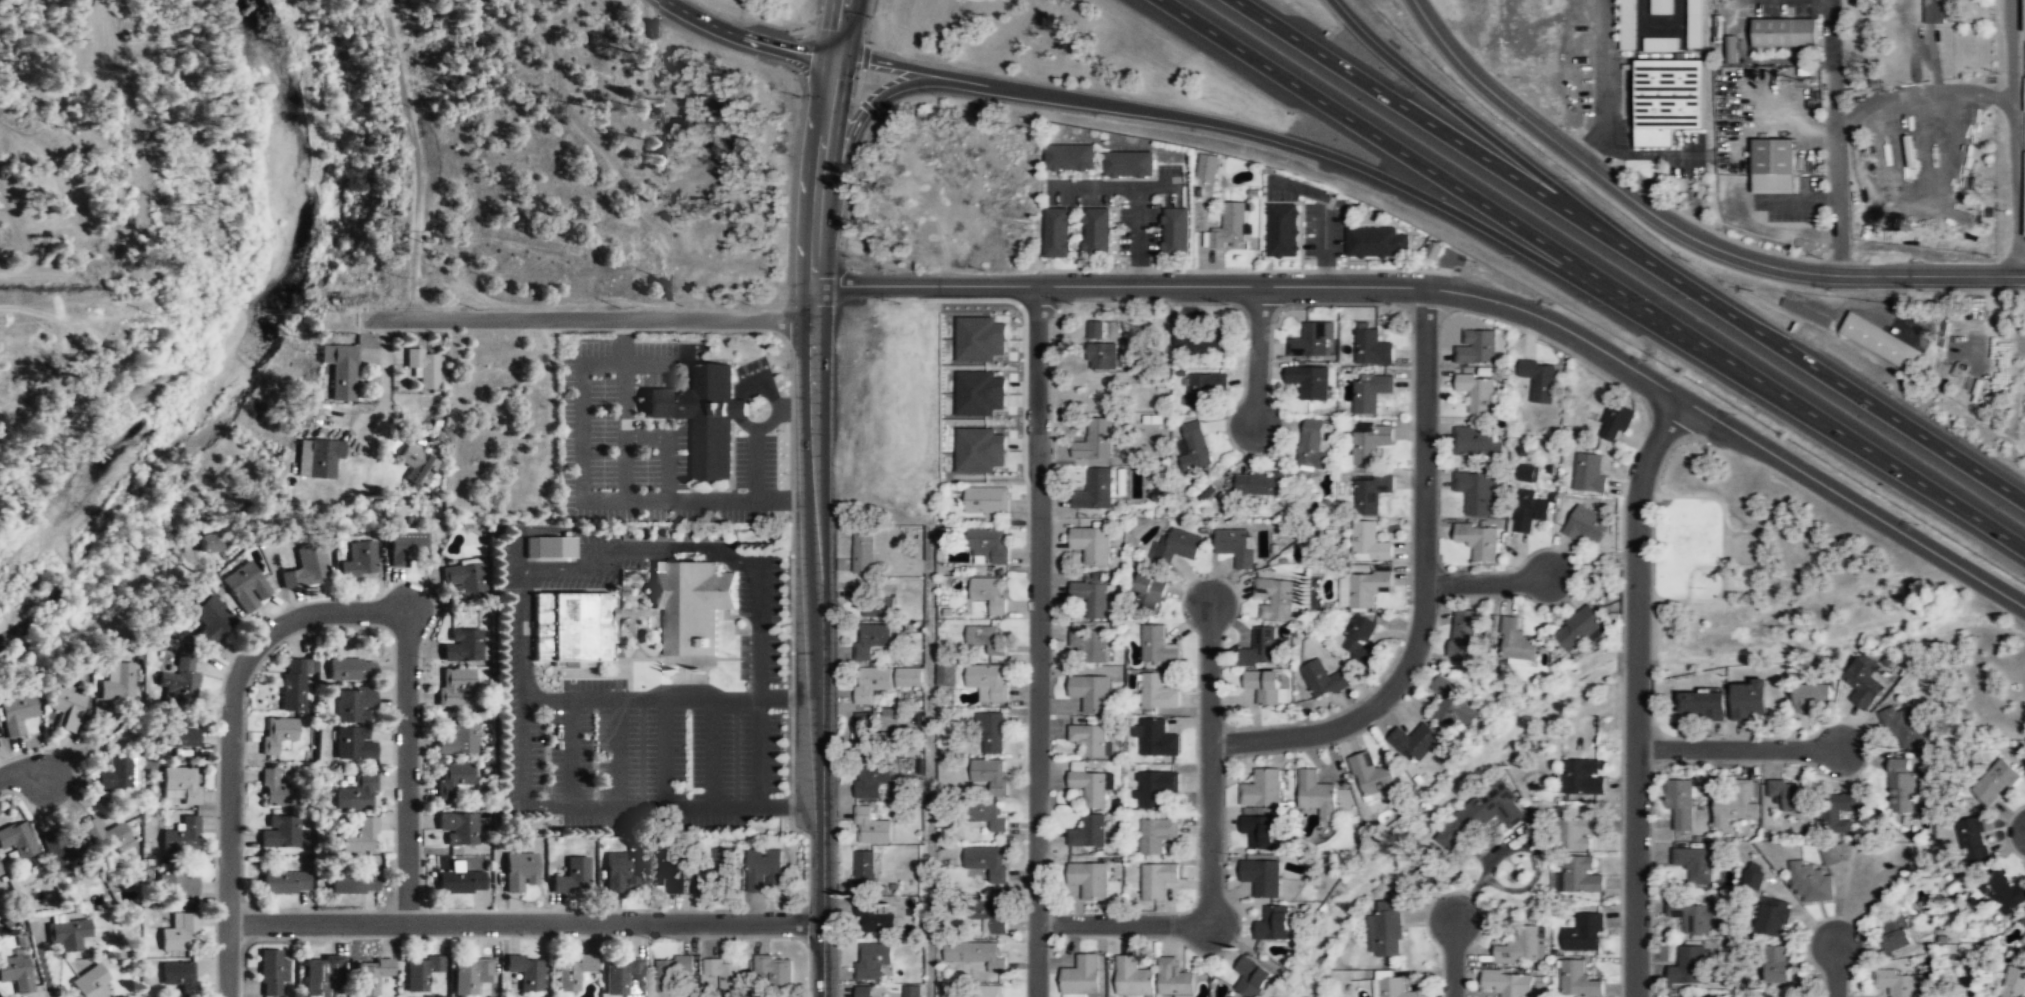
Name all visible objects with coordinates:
building: (1661, 6)
building: (1939, 10)
building: (2024, 10)
building: (1694, 23)
building: (1628, 25)
road: (840, 27)
building: (1784, 32)
road: (748, 36)
building: (1661, 43)
building: (1731, 49)
road: (928, 68)
building: (1909, 74)
road: (1606, 84)
road: (1924, 91)
building: (2024, 95)
building: (1668, 98)
road: (876, 99)
road: (406, 114)
road: (1481, 128)
road: (1833, 136)
road: (2018, 136)
building: (1070, 159)
building: (1129, 165)
building: (1206, 166)
building: (1773, 166)
road: (1388, 178)
road: (818, 187)
road: (1159, 187)
road: (1139, 191)
building: (2024, 196)
road: (1325, 213)
building: (1230, 228)
road: (1679, 229)
building: (1284, 231)
building: (1058, 232)
building: (1098, 232)
building: (1176, 232)
building: (1377, 242)
road: (1631, 249)
building: (1432, 250)
road: (412, 274)
road: (1593, 274)
road: (1461, 291)
building: (1807, 312)
road: (588, 319)
building: (1096, 328)
building: (978, 338)
building: (1312, 340)
building: (1881, 341)
building: (1200, 342)
building: (1476, 346)
building: (1371, 348)
road: (1257, 354)
building: (1102, 355)
river: (229, 362)
street lamp: (1407, 366)
street lamp: (792, 368)
building: (423, 369)
building: (340, 370)
road: (384, 378)
building: (1537, 379)
building: (326, 382)
building: (1309, 382)
building: (1203, 388)
building: (1475, 391)
building: (978, 392)
building: (1367, 395)
street lamp: (1639, 400)
building: (704, 416)
building: (1615, 418)
building: (1474, 439)
building: (1095, 440)
building: (1368, 442)
building: (1315, 444)
building: (1194, 446)
road: (815, 449)
building: (977, 449)
building: (317, 458)
building: (415, 465)
street lamp: (1409, 468)
building: (1526, 472)
building: (1587, 472)
street lamp: (793, 475)
building: (1260, 485)
building: (1095, 491)
building: (1474, 491)
building: (1370, 494)
building: (988, 500)
building: (1528, 509)
building: (1584, 523)
building: (1478, 540)
road: (1723, 540)
building: (212, 542)
building: (1368, 542)
building: (988, 545)
building: (1092, 545)
building: (1236, 546)
building: (1176, 547)
park: (1694, 548)
park: (1738, 548)
building: (405, 549)
building: (549, 549)
street lamp: (1620, 549)
road: (634, 551)
building: (864, 552)
building: (359, 561)
street lamp: (1512, 565)
building: (305, 570)
road: (1488, 580)
building: (464, 581)
building: (244, 587)
building: (1365, 588)
road: (1423, 589)
building: (1150, 593)
building: (989, 595)
building: (1091, 598)
building: (1275, 599)
street lamp: (793, 600)
building: (691, 604)
building: (878, 607)
street lamp: (1407, 613)
building: (208, 623)
road: (759, 626)
building: (1576, 627)
building: (572, 628)
building: (1461, 633)
building: (988, 638)
building: (1514, 639)
road: (1038, 640)
building: (1359, 640)
building: (872, 641)
building: (1159, 644)
building: (1090, 645)
building: (462, 647)
building: (1262, 648)
building: (351, 670)
building: (946, 675)
building: (909, 677)
building: (1321, 677)
building: (1864, 680)
building: (988, 681)
building: (117, 682)
building: (179, 683)
building: (872, 684)
building: (1262, 684)
building: (294, 685)
building: (452, 685)
road: (1637, 691)
building: (1159, 692)
building: (1091, 693)
building: (1811, 696)
road: (639, 697)
building: (1748, 698)
building: (1451, 700)
building: (1703, 703)
building: (353, 706)
building: (66, 708)
building: (15, 715)
street lamp: (793, 715)
street lamp: (1290, 718)
building: (1903, 724)
building: (867, 732)
building: (993, 732)
building: (176, 734)
building: (277, 734)
road: (229, 737)
building: (1155, 738)
building: (458, 739)
building: (1090, 740)
parking lot: (641, 742)
building: (1416, 742)
building: (353, 745)
road: (1739, 747)
road: (664, 751)
road: (712, 751)
road: (569, 752)
road: (616, 752)
road: (930, 760)
road: (1210, 762)
road: (406, 767)
road: (22, 772)
building: (990, 774)
building: (2024, 774)
building: (115, 775)
building: (1582, 775)
building: (1372, 776)
building: (454, 782)
building: (1996, 782)
building: (869, 783)
building: (180, 784)
building: (1902, 784)
road: (823, 786)
building: (276, 788)
building: (1090, 788)
building: (1156, 788)
building: (1262, 790)
building: (356, 795)
building: (1318, 795)
building: (1790, 795)
building: (1680, 803)
building: (1737, 804)
road: (608, 806)
building: (1839, 810)
building: (1482, 815)
building: (987, 816)
building: (871, 827)
building: (458, 830)
building: (1578, 831)
building: (279, 832)
building: (1259, 832)
building: (182, 833)
building: (1089, 833)
building: (1157, 836)
building: (105, 838)
building: (358, 838)
building: (17, 840)
building: (1973, 840)
building: (60, 853)
building: (1831, 853)
building: (987, 862)
building: (1695, 864)
building: (765, 868)
building: (1, 870)
building: (518, 872)
building: (620, 872)
building: (865, 872)
building: (713, 873)
building: (1578, 873)
building: (671, 875)
building: (1754, 875)
building: (571, 877)
building: (1262, 878)
building: (1090, 879)
building: (1811, 880)
building: (1157, 881)
building: (459, 882)
building: (285, 883)
building: (351, 883)
building: (176, 885)
building: (2004, 891)
building: (991, 914)
building: (1774, 916)
building: (1692, 917)
building: (876, 920)
building: (2022, 920)
road: (1123, 923)
road: (526, 924)
building: (1273, 925)
building: (1386, 930)
building: (1895, 933)
building: (179, 934)
building: (1583, 934)
building: (70, 936)
building: (2023, 939)
street lamp: (352, 941)
street lamp: (543, 941)
street lamp: (756, 941)
building: (1522, 946)
building: (976, 953)
road: (1452, 957)
building: (873, 961)
building: (1778, 963)
building: (1687, 967)
building: (775, 969)
road: (1836, 969)
building: (420, 971)
building: (675, 971)
building: (572, 972)
building: (271, 973)
building: (525, 973)
building: (620, 973)
building: (16, 974)
building: (726, 974)
building: (470, 976)
building: (1081, 976)
building: (178, 977)
building: (321, 977)
building: (370, 977)
building: (1251, 977)
building: (1133, 978)
building: (1174, 979)
building: (1577, 980)
building: (2014, 982)
building: (88, 983)
building: (1506, 983)
building: (1900, 983)
building: (1393, 986)
building: (0, 990)
building: (910, 990)
building: (993, 991)
building: (865, 992)
building: (0, 996)

